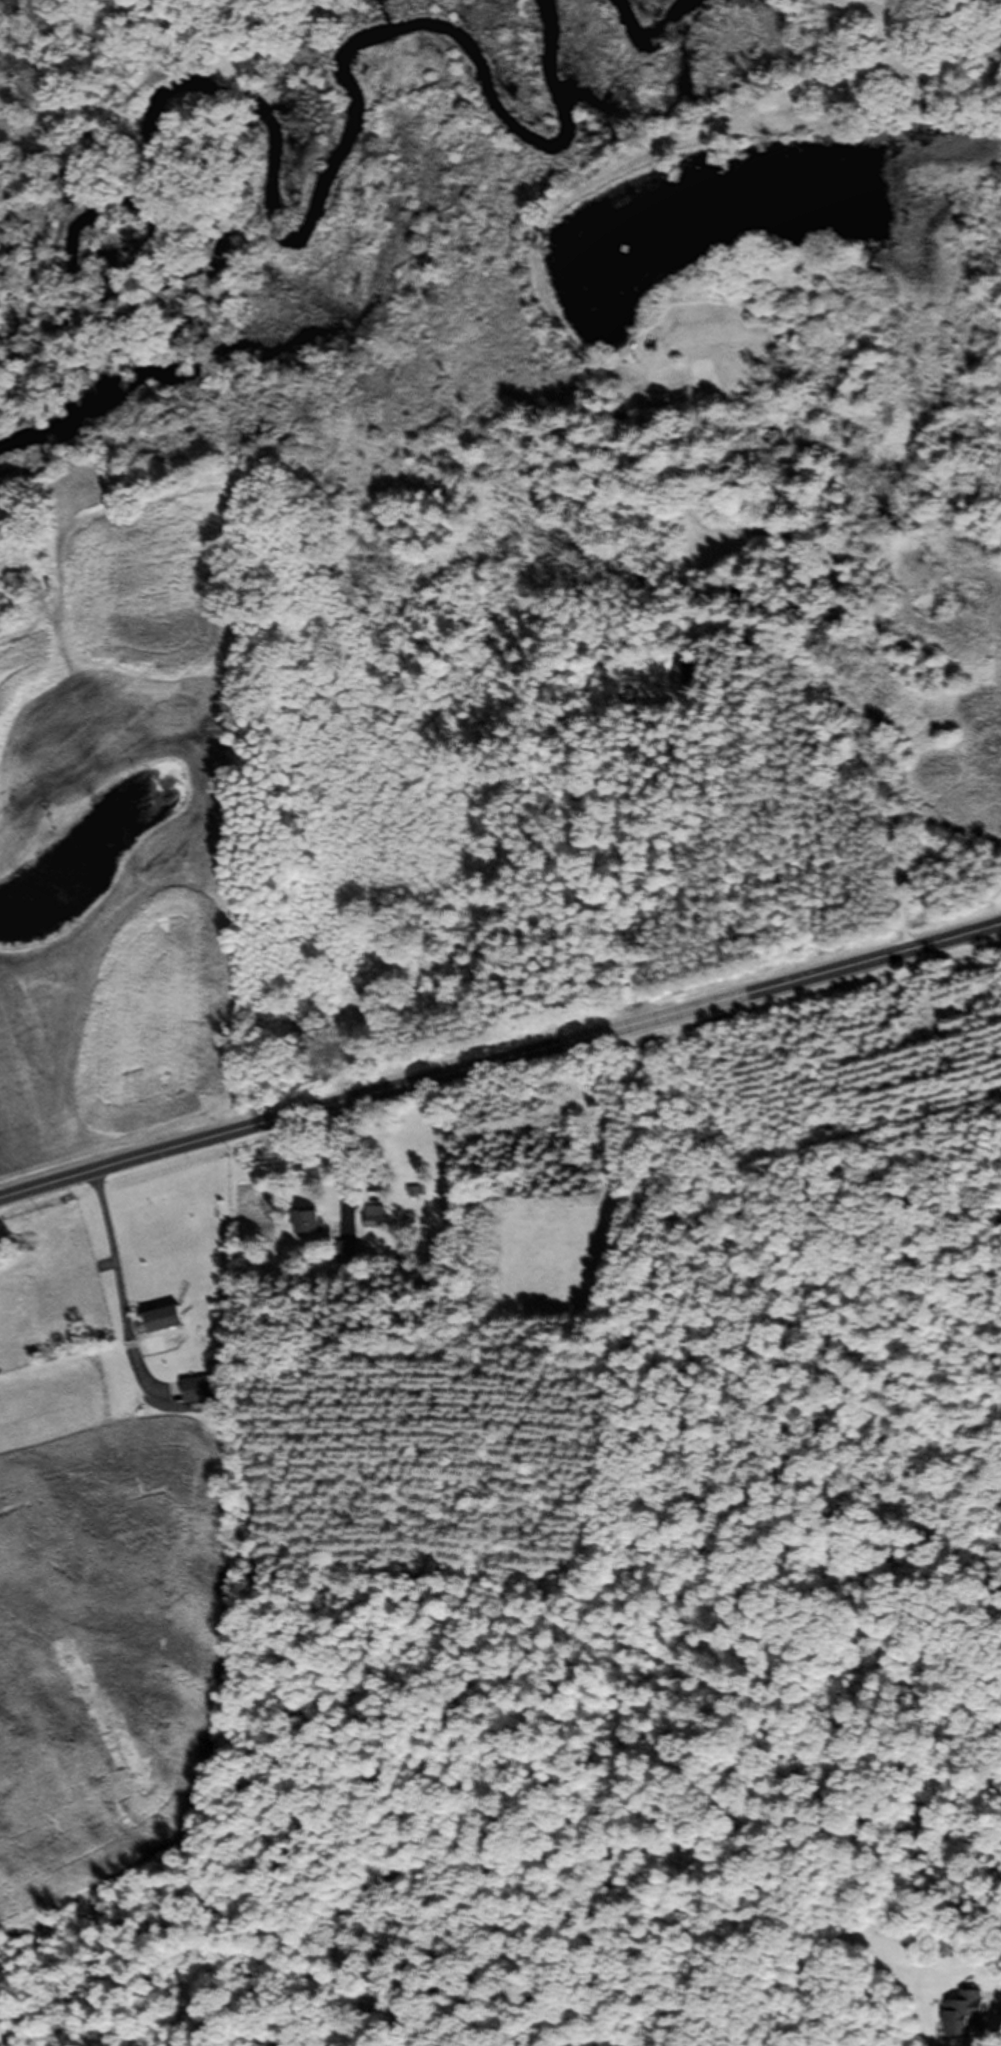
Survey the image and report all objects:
road: (500, 1061)
building: (373, 1223)
building: (307, 1227)
building: (164, 1324)
building: (197, 1396)
building: (956, 2021)

